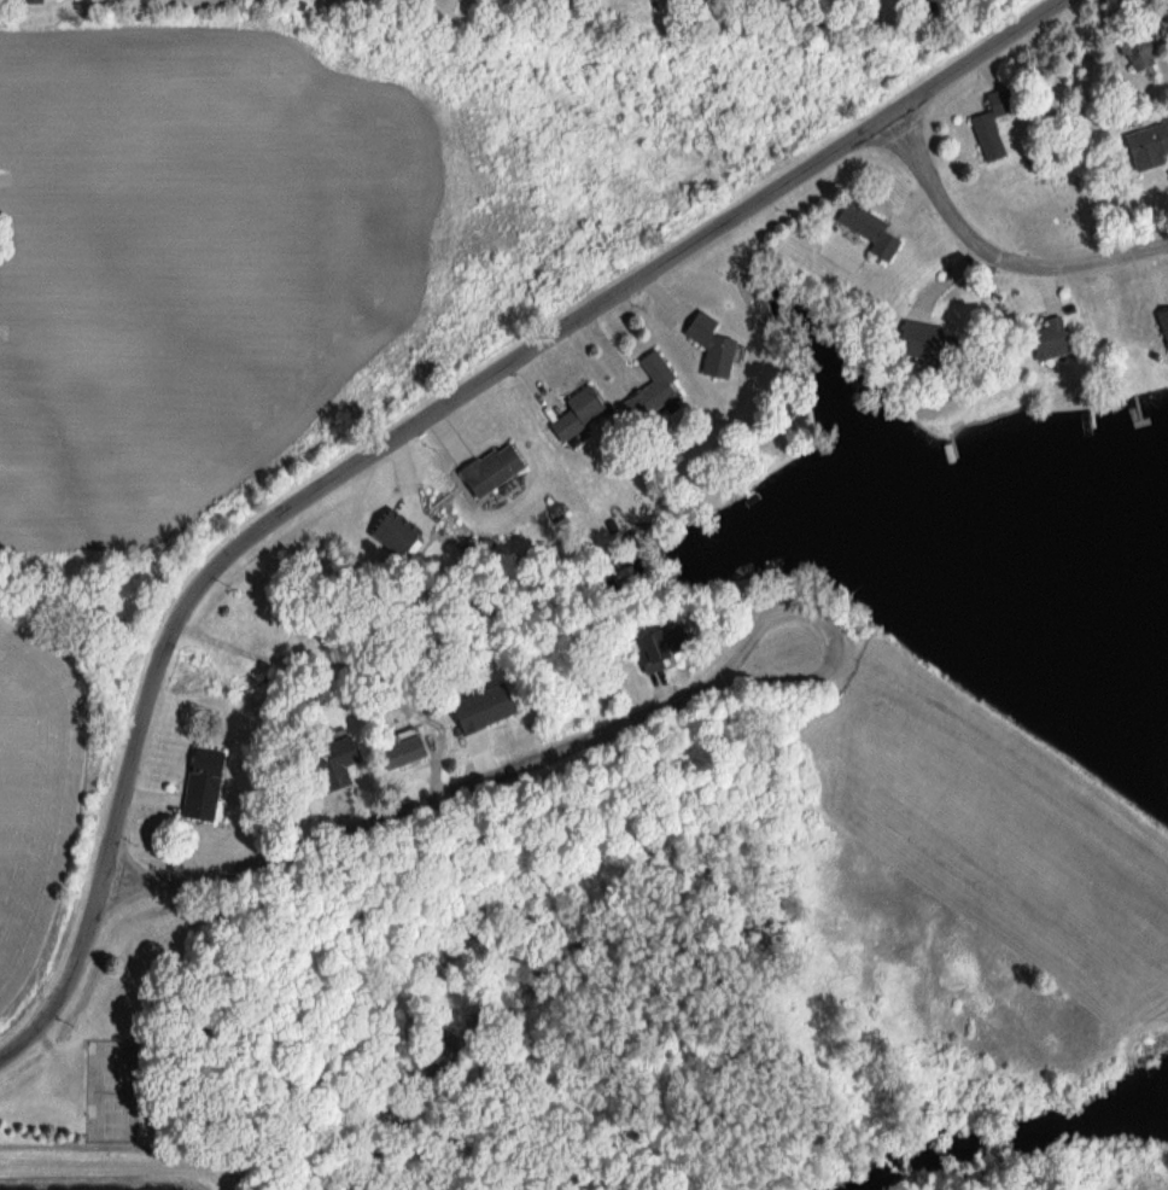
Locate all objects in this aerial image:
building: (24, 2)
building: (1137, 48)
building: (983, 127)
building: (1144, 145)
building: (864, 232)
road: (994, 256)
building: (1161, 326)
building: (1046, 340)
building: (913, 342)
building: (705, 346)
building: (641, 390)
building: (572, 415)
road: (408, 428)
building: (485, 468)
building: (387, 533)
building: (637, 643)
building: (472, 708)
building: (392, 752)
road: (988, 754)
building: (323, 763)
building: (194, 784)
road: (454, 788)
river: (1120, 1106)
river: (1120, 1120)
river: (960, 1149)

